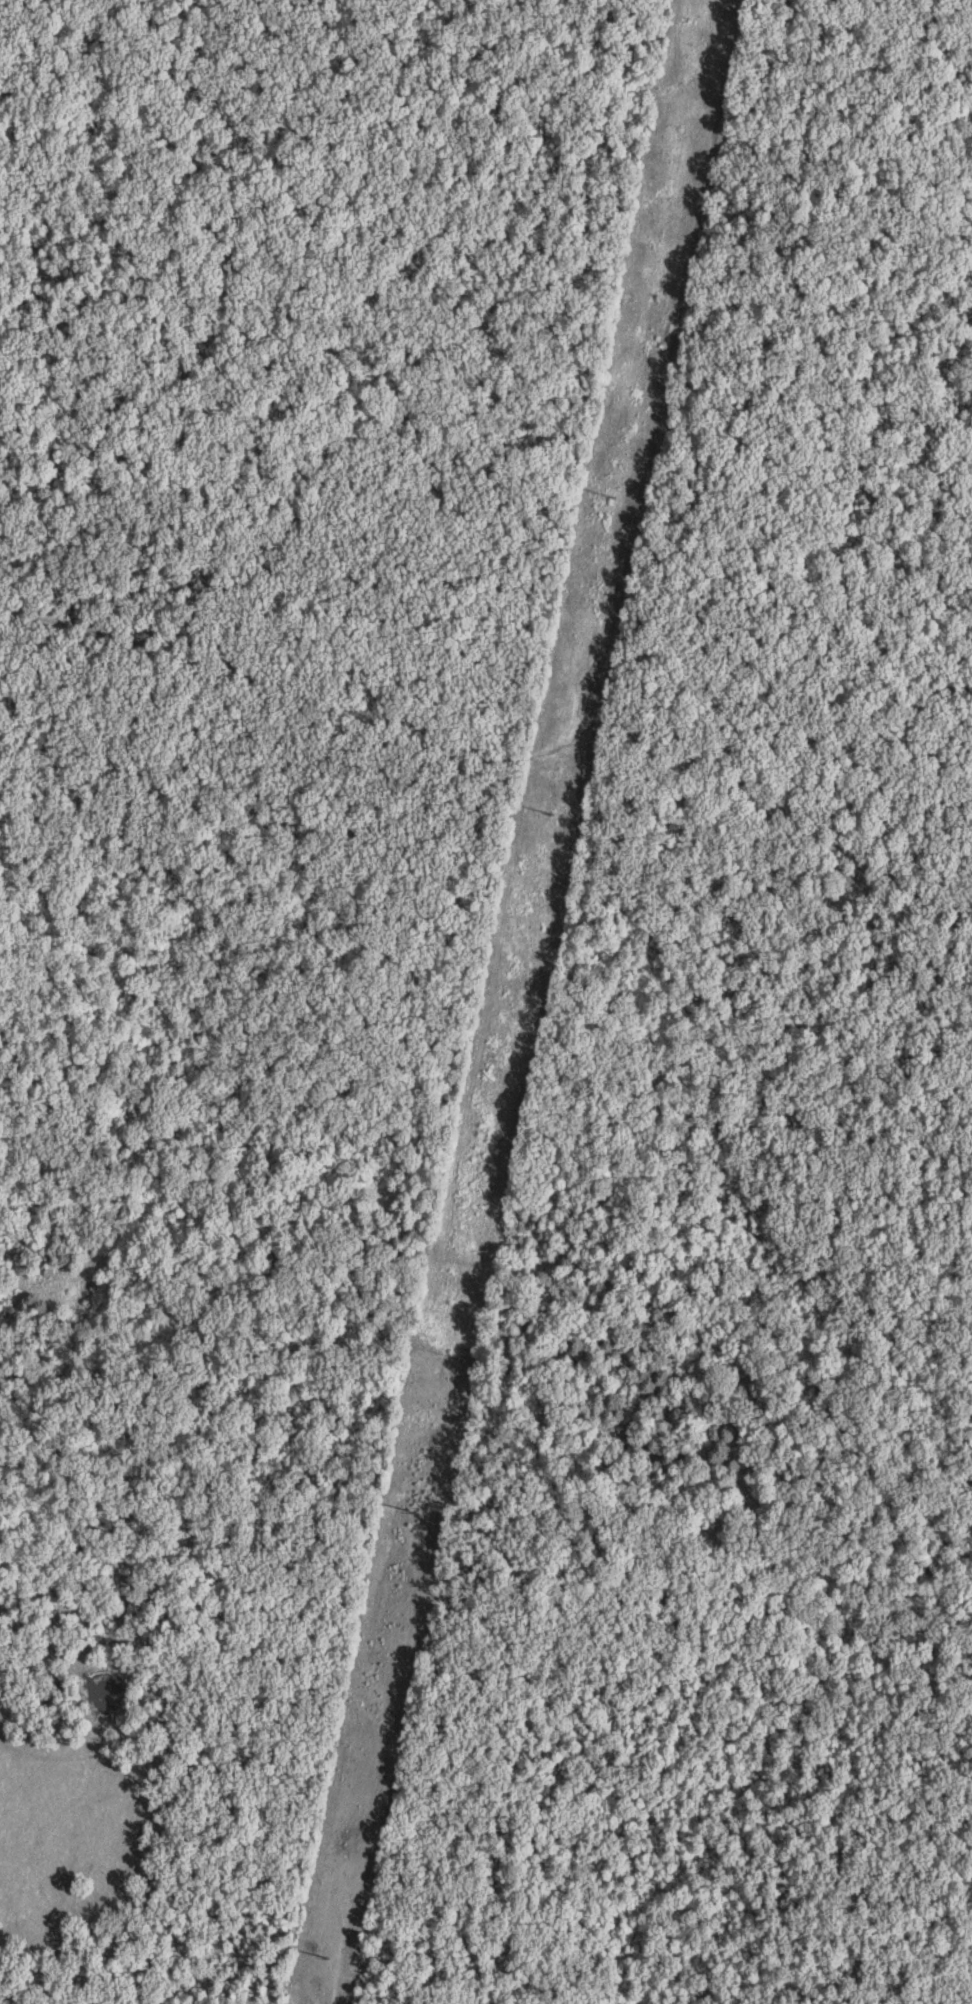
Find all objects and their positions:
power tower: (614, 497)
power tower: (551, 817)
power tower: (414, 1516)
power tower: (325, 1962)

